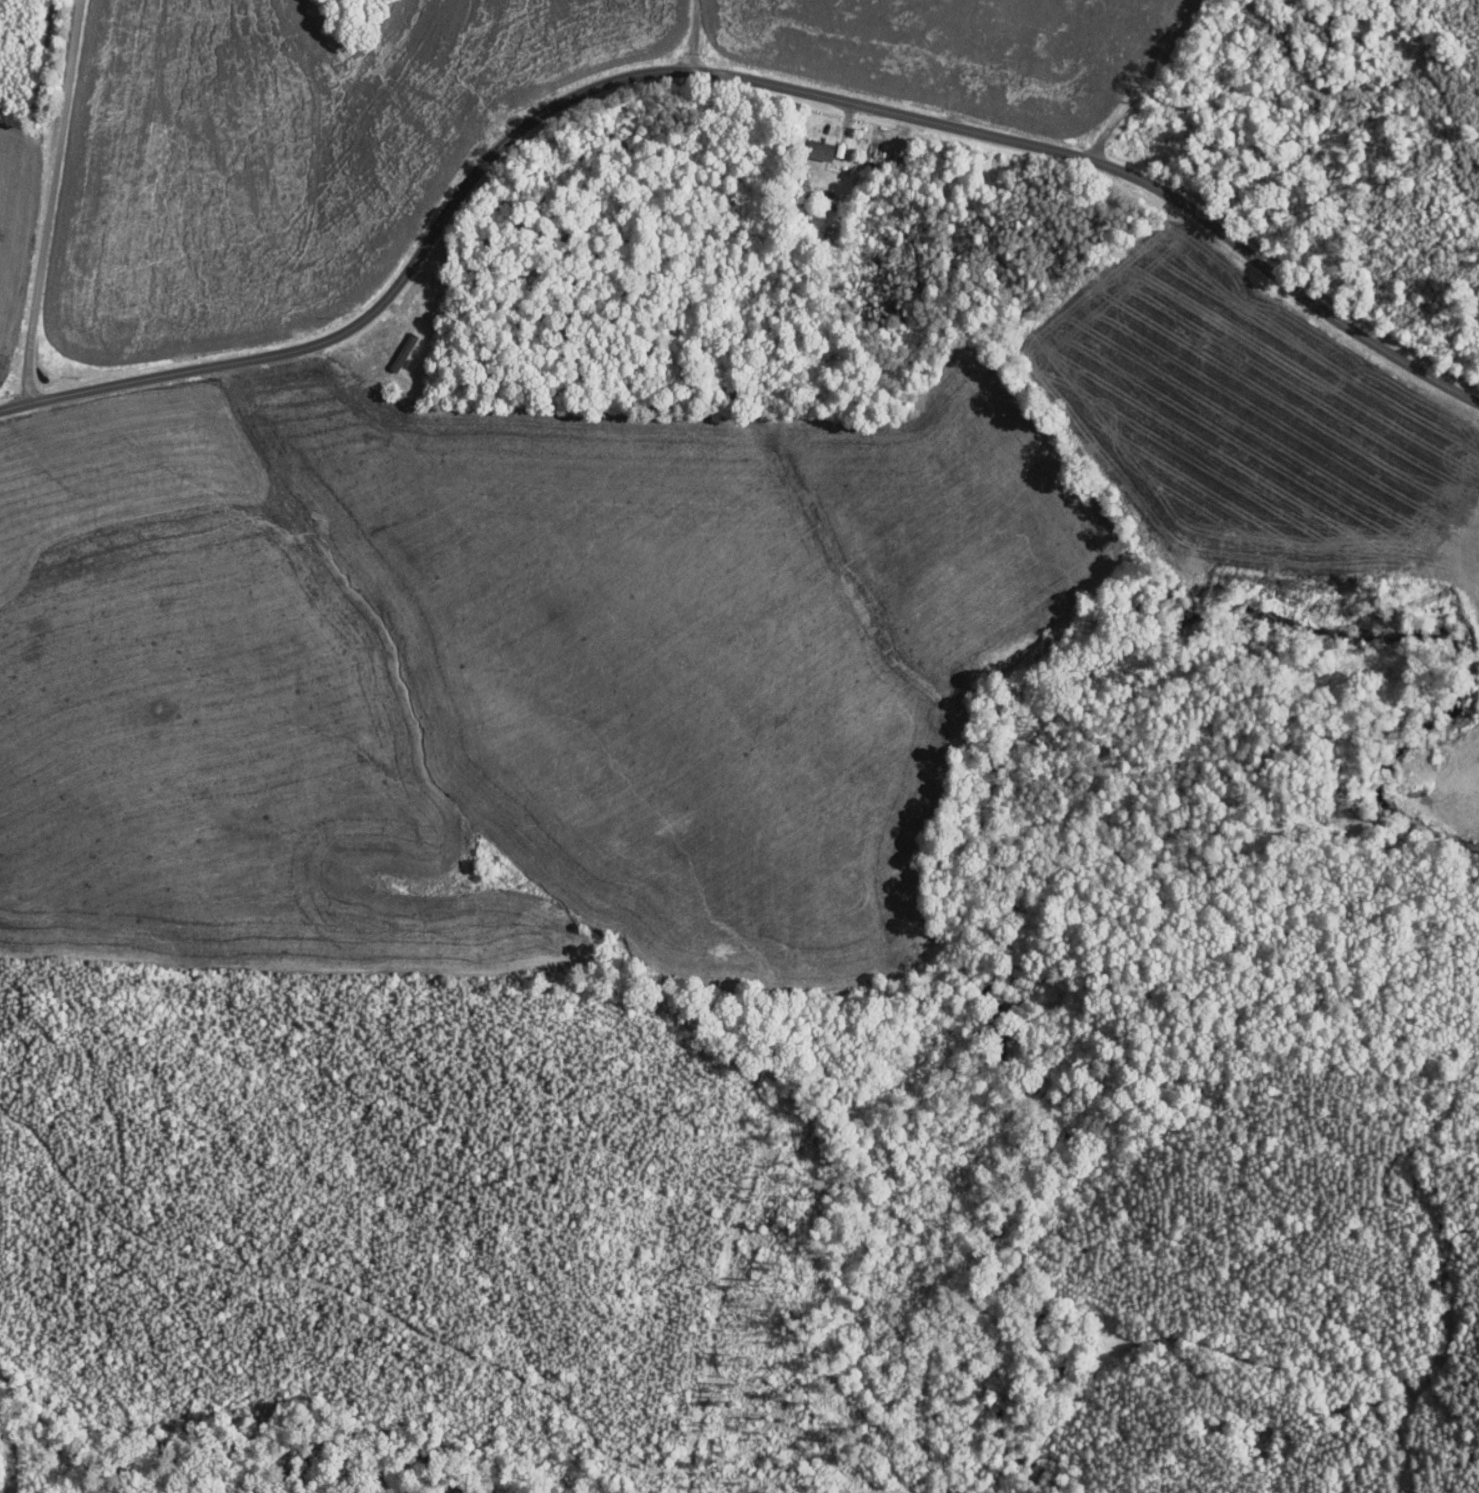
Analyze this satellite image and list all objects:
road: (712, 38)
road: (716, 75)
road: (51, 202)

